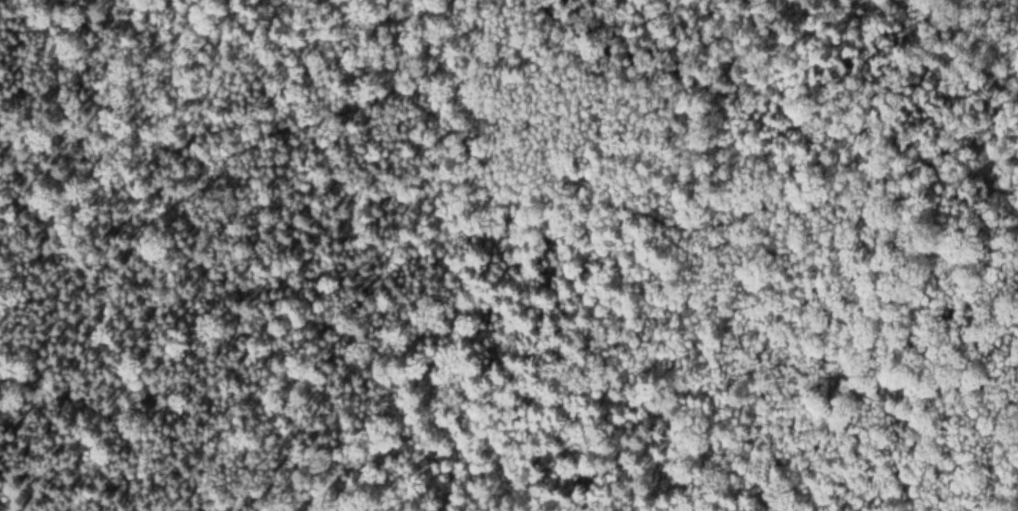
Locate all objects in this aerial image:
road: (962, 52)
road: (506, 168)

